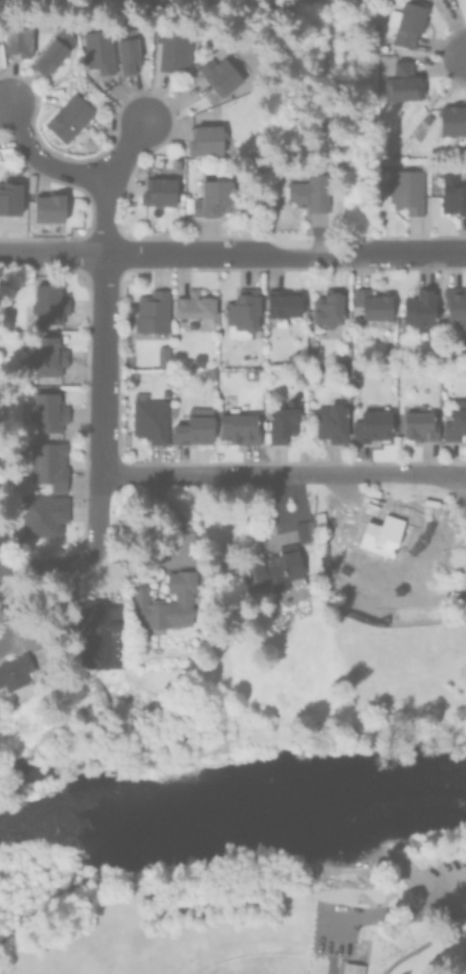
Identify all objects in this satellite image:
building: (404, 22)
building: (13, 34)
building: (125, 48)
building: (96, 49)
building: (172, 51)
building: (48, 54)
building: (216, 74)
building: (400, 82)
building: (66, 116)
building: (451, 117)
building: (204, 137)
road: (125, 151)
road: (40, 161)
building: (405, 188)
building: (157, 189)
building: (308, 190)
building: (451, 192)
building: (10, 195)
building: (209, 197)
building: (48, 208)
road: (104, 217)
road: (232, 253)
building: (191, 302)
building: (278, 302)
building: (370, 302)
building: (454, 302)
building: (50, 303)
building: (325, 305)
building: (417, 307)
building: (148, 310)
building: (241, 310)
building: (190, 322)
building: (161, 353)
building: (48, 356)
building: (459, 368)
building: (256, 371)
road: (101, 409)
building: (50, 411)
building: (148, 417)
building: (454, 419)
building: (278, 420)
building: (329, 421)
building: (416, 421)
building: (371, 423)
building: (191, 425)
building: (238, 425)
building: (45, 465)
road: (283, 474)
building: (45, 511)
building: (301, 525)
building: (378, 538)
building: (274, 565)
road: (45, 566)
building: (164, 600)
building: (98, 635)
building: (15, 671)
river: (233, 812)
road: (446, 904)
park: (238, 910)
road: (380, 915)
park: (259, 965)
building: (351, 969)

